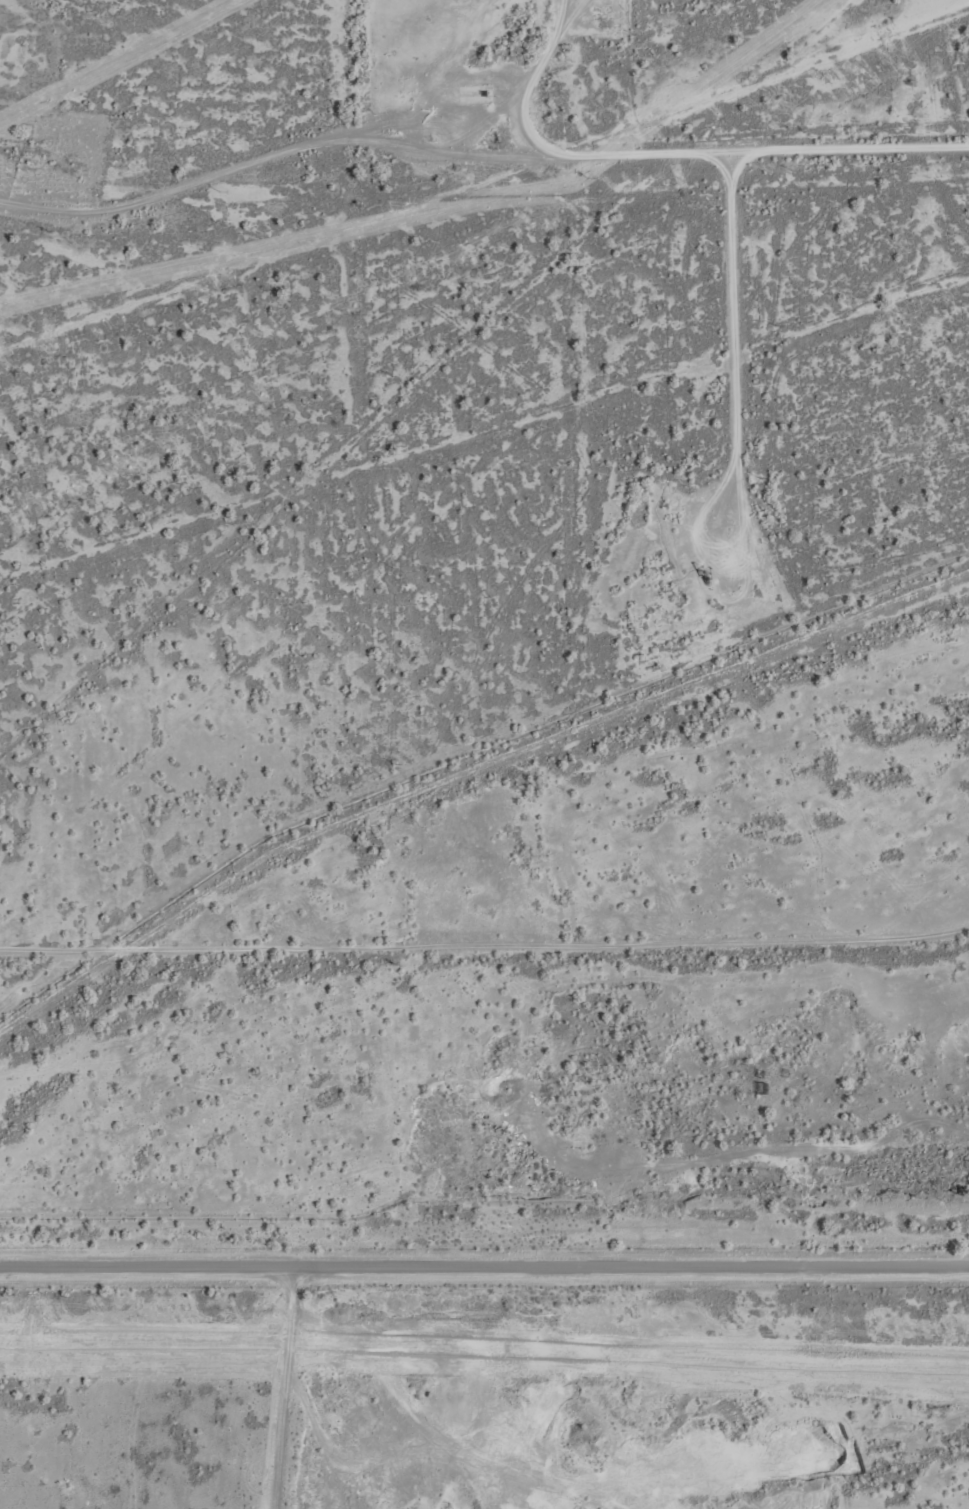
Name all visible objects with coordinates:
road: (537, 41)
road: (484, 1254)

